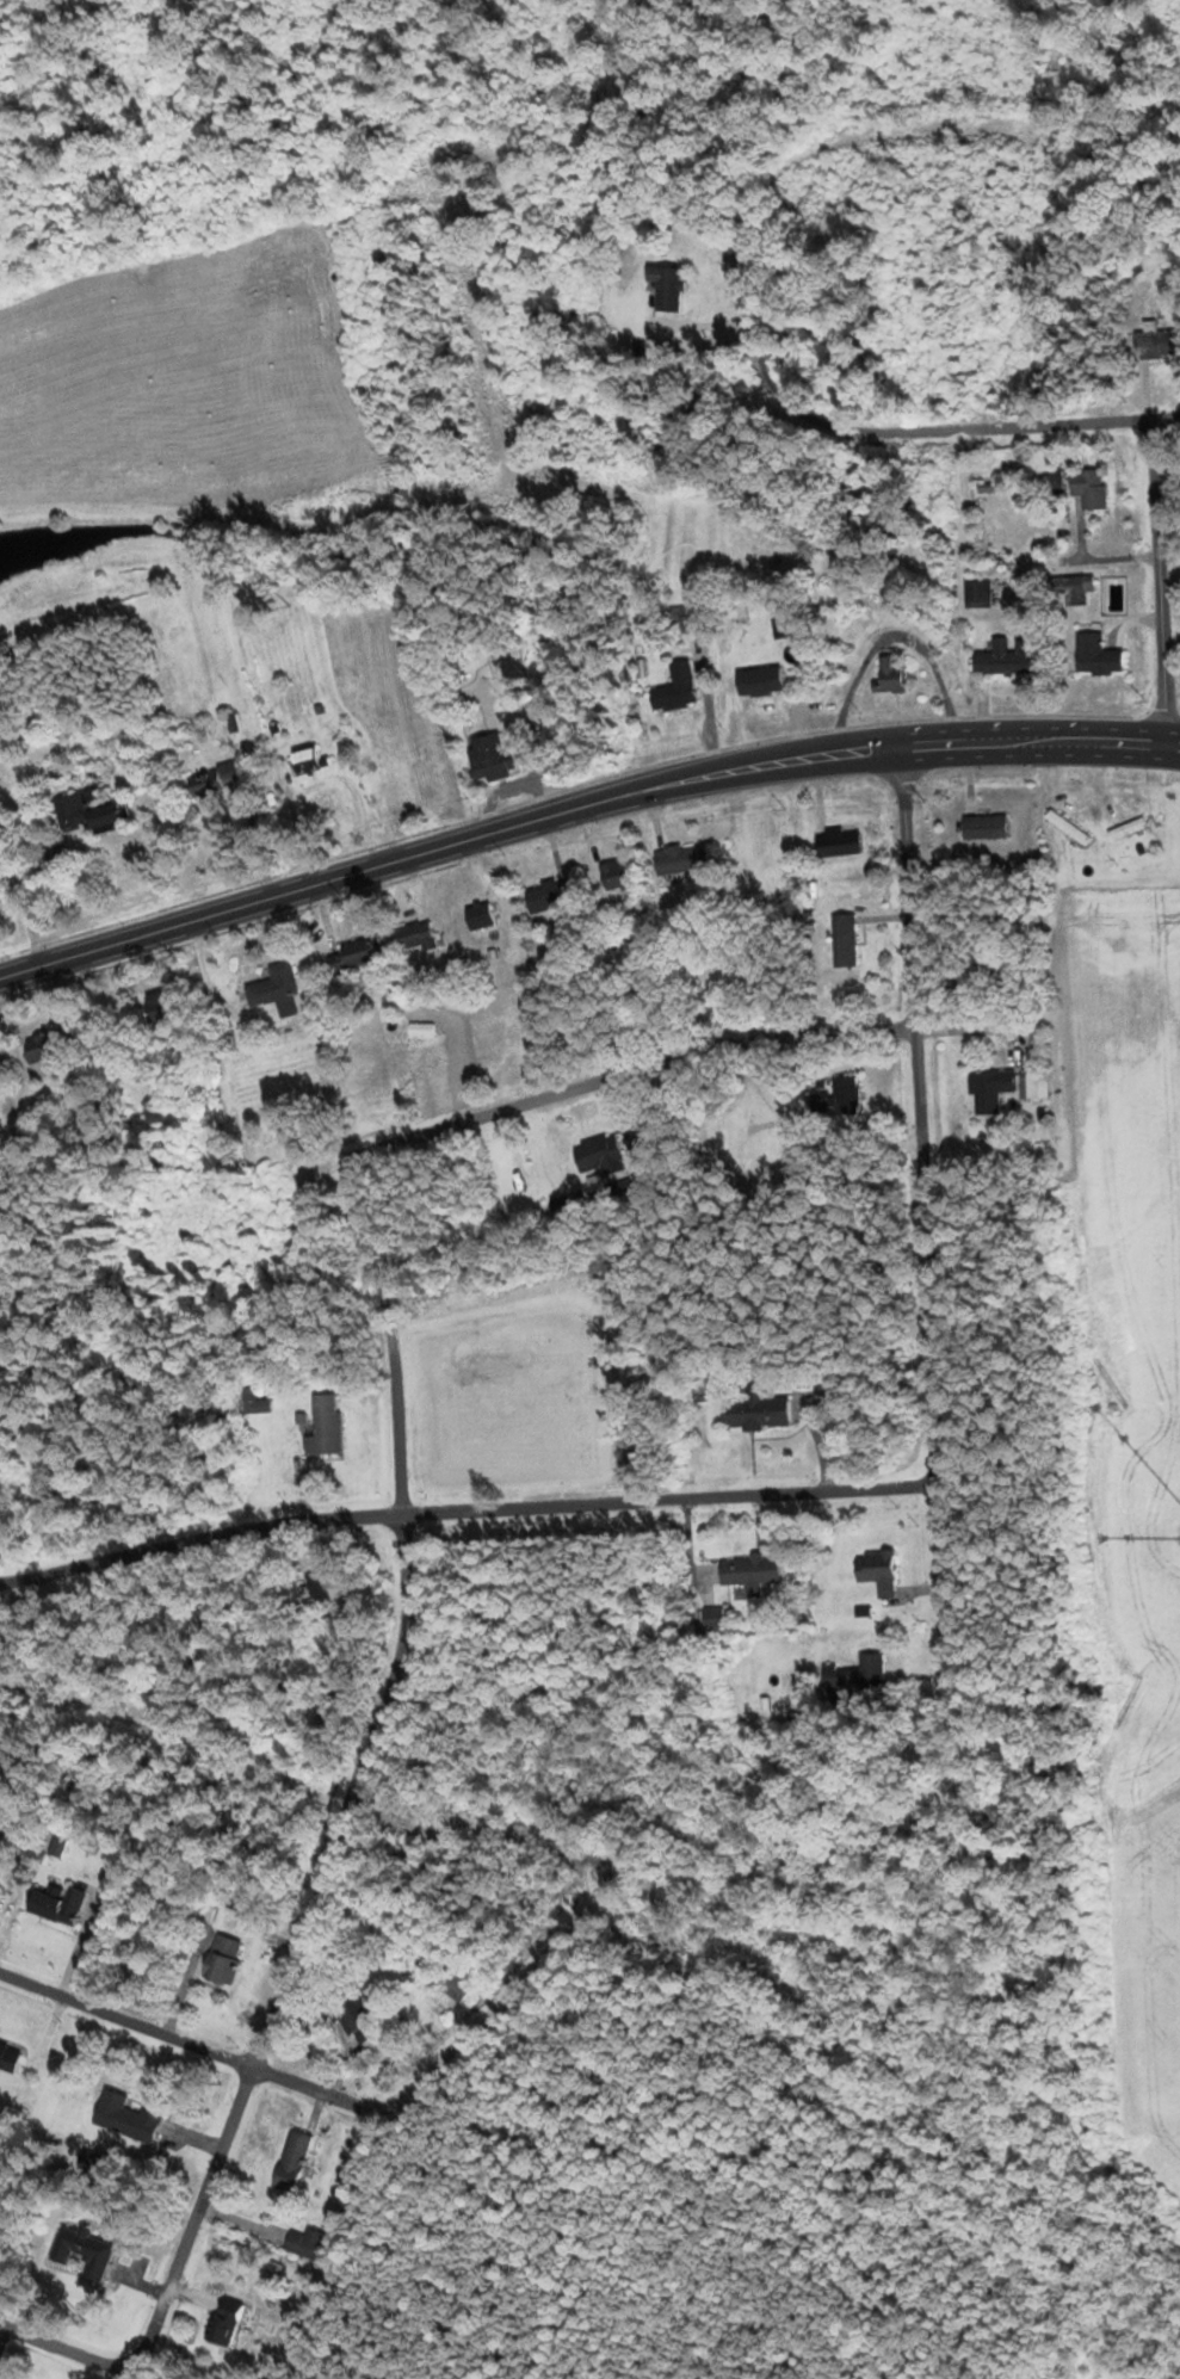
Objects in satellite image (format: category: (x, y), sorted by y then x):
building: (666, 288)
road: (750, 335)
building: (1156, 344)
road: (1162, 421)
building: (1054, 481)
building: (1088, 488)
road: (1161, 583)
building: (1069, 591)
building: (977, 592)
building: (687, 619)
building: (1095, 656)
building: (1003, 660)
building: (890, 674)
building: (758, 681)
building: (675, 688)
building: (489, 756)
building: (307, 760)
road: (535, 776)
building: (208, 781)
road: (581, 807)
building: (86, 815)
building: (984, 827)
building: (1068, 828)
building: (1128, 829)
building: (836, 842)
building: (675, 860)
building: (614, 876)
building: (546, 896)
building: (478, 916)
building: (412, 937)
building: (844, 939)
building: (348, 956)
building: (274, 989)
building: (159, 1003)
building: (39, 1046)
road: (629, 1071)
building: (990, 1089)
building: (845, 1094)
building: (598, 1155)
road: (926, 1218)
road: (393, 1331)
building: (702, 1395)
building: (248, 1399)
building: (753, 1410)
building: (323, 1425)
road: (673, 1497)
road: (199, 1537)
building: (877, 1570)
building: (748, 1572)
building: (712, 1617)
building: (855, 1673)
road: (354, 1794)
building: (51, 1907)
building: (222, 1959)
road: (186, 1983)
building: (455, 1988)
road: (489, 2016)
road: (126, 2019)
building: (359, 2019)
building: (8, 2057)
road: (309, 2087)
building: (124, 2119)
road: (193, 2137)
building: (290, 2161)
road: (197, 2214)
building: (303, 2243)
building: (82, 2250)
building: (224, 2322)
road: (2, 2334)
road: (68, 2348)

